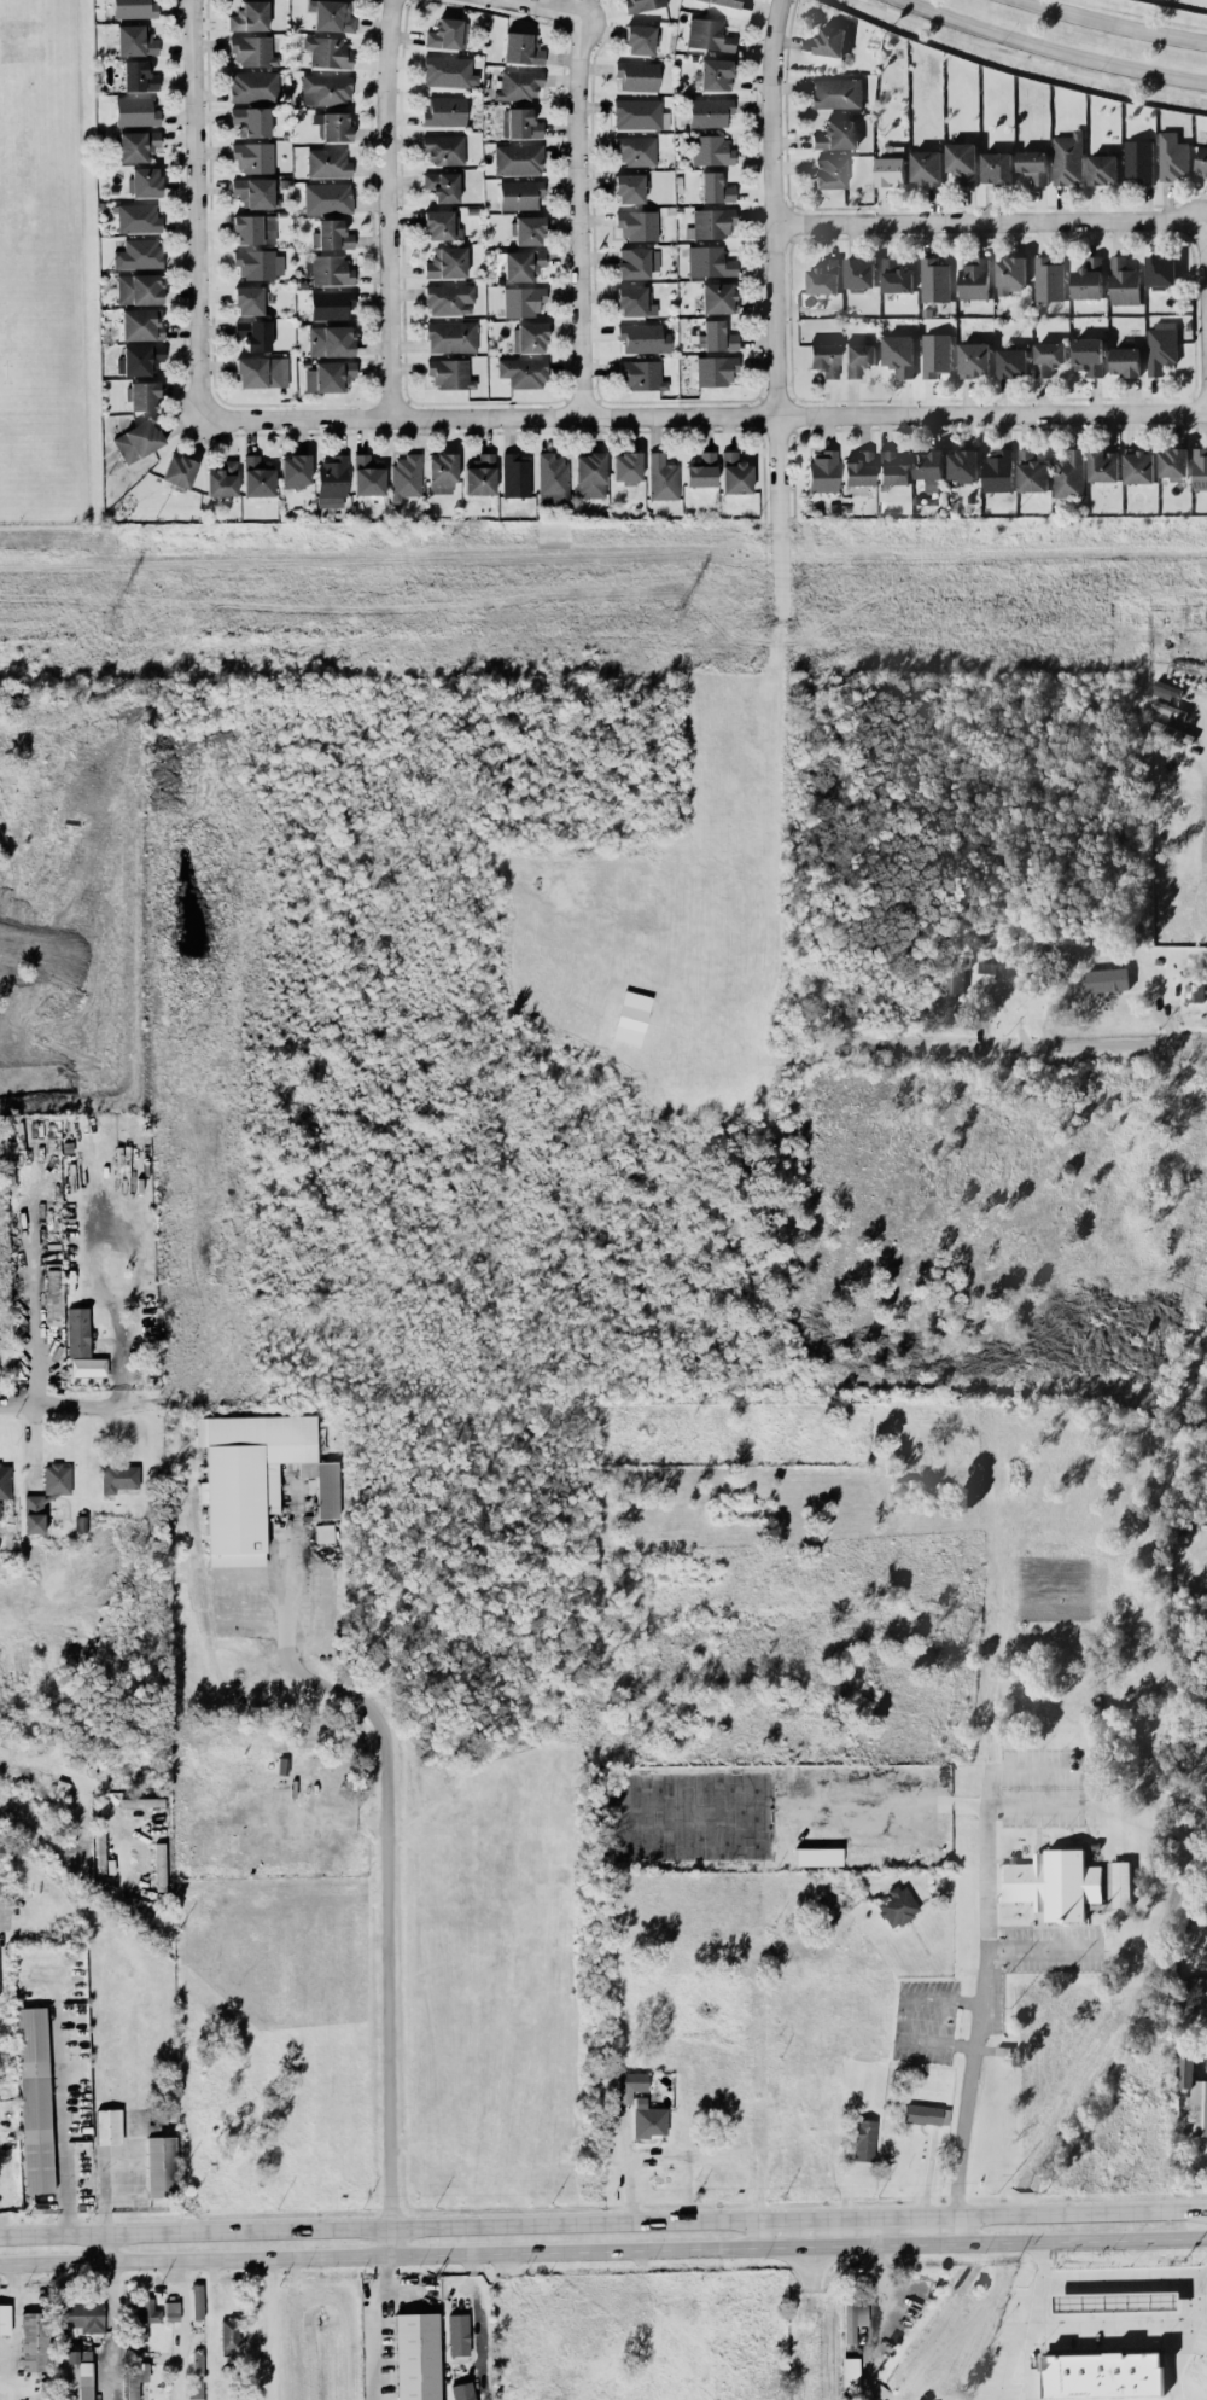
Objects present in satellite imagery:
building: (723, 1)
building: (643, 4)
road: (546, 7)
building: (134, 8)
road: (1151, 10)
building: (332, 14)
building: (250, 16)
road: (1114, 23)
building: (448, 34)
building: (709, 35)
building: (640, 39)
building: (135, 40)
building: (830, 40)
building: (523, 48)
road: (1050, 48)
building: (252, 51)
building: (328, 52)
building: (449, 71)
building: (716, 74)
building: (639, 75)
building: (139, 76)
building: (519, 85)
building: (255, 86)
building: (326, 89)
building: (836, 93)
building: (136, 111)
building: (445, 111)
building: (710, 111)
building: (640, 113)
building: (251, 121)
building: (523, 123)
building: (333, 126)
building: (835, 134)
building: (138, 145)
building: (444, 148)
building: (636, 150)
building: (711, 150)
building: (253, 156)
building: (1173, 156)
building: (1068, 158)
building: (1202, 158)
building: (519, 159)
building: (1138, 159)
building: (962, 161)
building: (328, 163)
building: (1034, 164)
building: (926, 165)
building: (996, 167)
building: (1103, 168)
building: (829, 173)
building: (145, 181)
building: (443, 186)
building: (629, 187)
building: (716, 187)
building: (253, 192)
building: (520, 193)
building: (328, 197)
road: (196, 208)
road: (389, 208)
road: (579, 215)
building: (138, 217)
road: (991, 221)
building: (712, 222)
building: (442, 225)
building: (637, 225)
building: (255, 228)
building: (527, 229)
building: (331, 235)
building: (138, 254)
building: (710, 261)
building: (447, 262)
building: (637, 262)
building: (260, 263)
building: (523, 264)
building: (330, 269)
building: (1161, 270)
building: (859, 273)
building: (1010, 273)
building: (896, 275)
building: (823, 276)
building: (974, 278)
building: (1088, 278)
building: (934, 279)
building: (1048, 279)
building: (1124, 281)
building: (139, 289)
building: (718, 297)
building: (450, 298)
building: (250, 299)
building: (524, 301)
building: (635, 301)
building: (331, 304)
road: (777, 305)
building: (141, 325)
building: (255, 333)
building: (451, 336)
building: (718, 336)
building: (530, 337)
building: (643, 337)
building: (331, 340)
building: (1161, 346)
building: (899, 354)
building: (935, 354)
building: (1088, 355)
building: (1048, 356)
building: (824, 357)
building: (858, 357)
building: (139, 359)
building: (974, 359)
building: (1126, 360)
building: (1011, 361)
building: (716, 369)
building: (262, 372)
building: (523, 372)
building: (450, 373)
building: (641, 374)
building: (330, 375)
building: (144, 395)
road: (704, 414)
building: (138, 439)
building: (1173, 462)
building: (928, 464)
building: (963, 464)
building: (1103, 464)
building: (1139, 465)
building: (626, 467)
building: (1200, 467)
building: (859, 468)
building: (296, 470)
building: (891, 470)
building: (998, 470)
building: (179, 471)
building: (701, 471)
building: (1032, 471)
building: (442, 472)
building: (823, 472)
building: (735, 473)
building: (1069, 473)
building: (480, 474)
building: (517, 474)
building: (590, 474)
building: (368, 476)
building: (406, 476)
building: (257, 477)
building: (663, 477)
building: (552, 478)
building: (222, 479)
building: (332, 482)
power tower: (1188, 616)
power tower: (667, 621)
power tower: (112, 624)
road: (1205, 803)
building: (1005, 963)
building: (954, 971)
building: (1107, 979)
building: (1194, 991)
building: (631, 1016)
road: (1043, 1044)
building: (53, 1299)
road: (35, 1322)
building: (77, 1332)
building: (88, 1365)
road: (153, 1408)
building: (119, 1476)
building: (57, 1478)
building: (255, 1479)
building: (5, 1482)
building: (34, 1514)
building: (325, 1532)
road: (82, 1777)
road: (1031, 1801)
road: (987, 1822)
building: (817, 1856)
road: (391, 1869)
building: (1065, 1883)
building: (897, 1906)
building: (1193, 1994)
road: (905, 2016)
road: (976, 2035)
building: (1206, 2044)
building: (630, 2084)
building: (1193, 2096)
building: (35, 2099)
building: (926, 2114)
building: (649, 2119)
building: (109, 2126)
road: (63, 2127)
building: (864, 2139)
road: (694, 2154)
building: (161, 2166)
road: (104, 2191)
road: (602, 2221)
road: (801, 2233)
road: (603, 2252)
road: (804, 2274)
road: (1103, 2279)
building: (197, 2300)
building: (148, 2311)
building: (171, 2311)
road: (113, 2315)
building: (81, 2317)
building: (5, 2318)
road: (477, 2318)
building: (853, 2319)
road: (1113, 2326)
road: (272, 2328)
road: (385, 2328)
road: (183, 2329)
road: (13, 2331)
building: (229, 2334)
building: (459, 2334)
building: (35, 2341)
building: (416, 2355)
building: (197, 2369)
building: (850, 2371)
building: (135, 2372)
building: (76, 2375)
building: (462, 2390)

